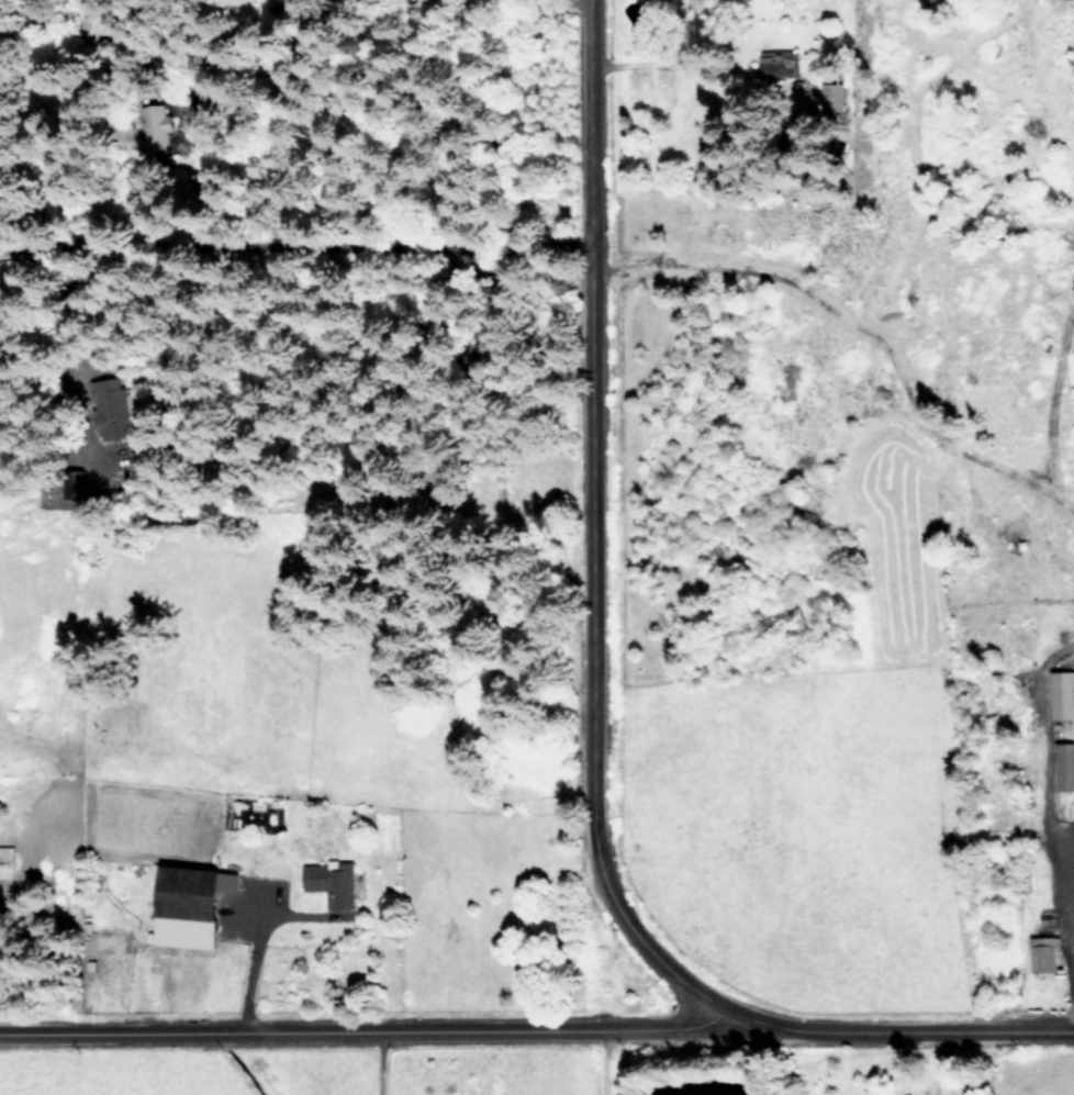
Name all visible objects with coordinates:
road: (381, 243)
building: (71, 484)
road: (582, 517)
building: (1062, 693)
building: (1064, 764)
building: (7, 861)
road: (1072, 869)
building: (331, 881)
building: (189, 904)
building: (1043, 953)
road: (249, 954)
road: (884, 1021)
road: (356, 1029)
road: (376, 1061)
road: (617, 1061)

